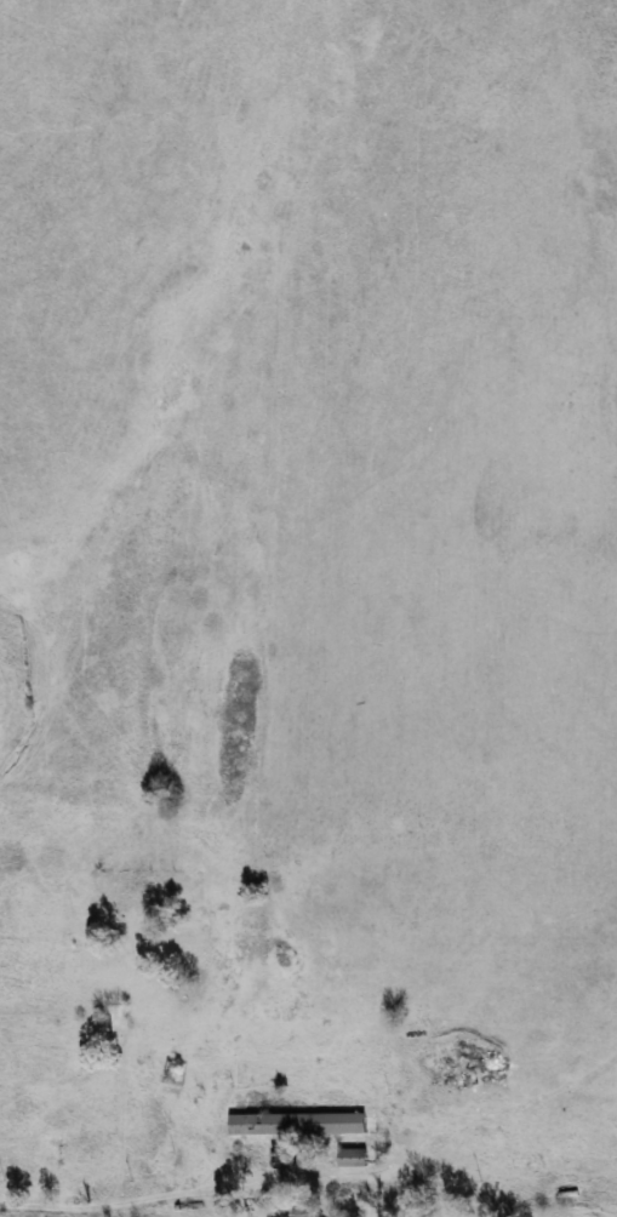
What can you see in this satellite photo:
building: (296, 1125)
building: (349, 1159)
building: (301, 1211)

